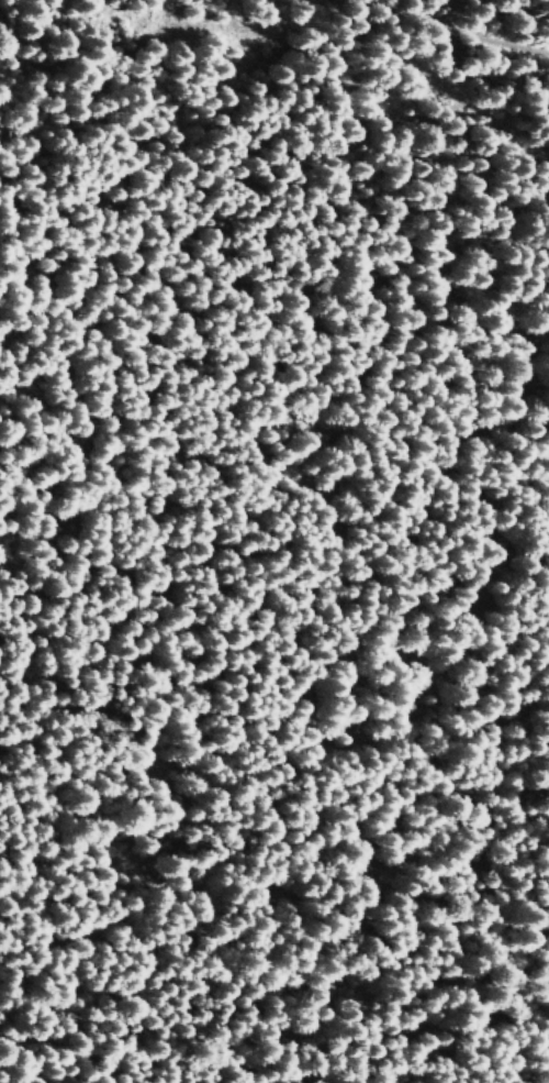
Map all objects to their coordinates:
road: (457, 30)

